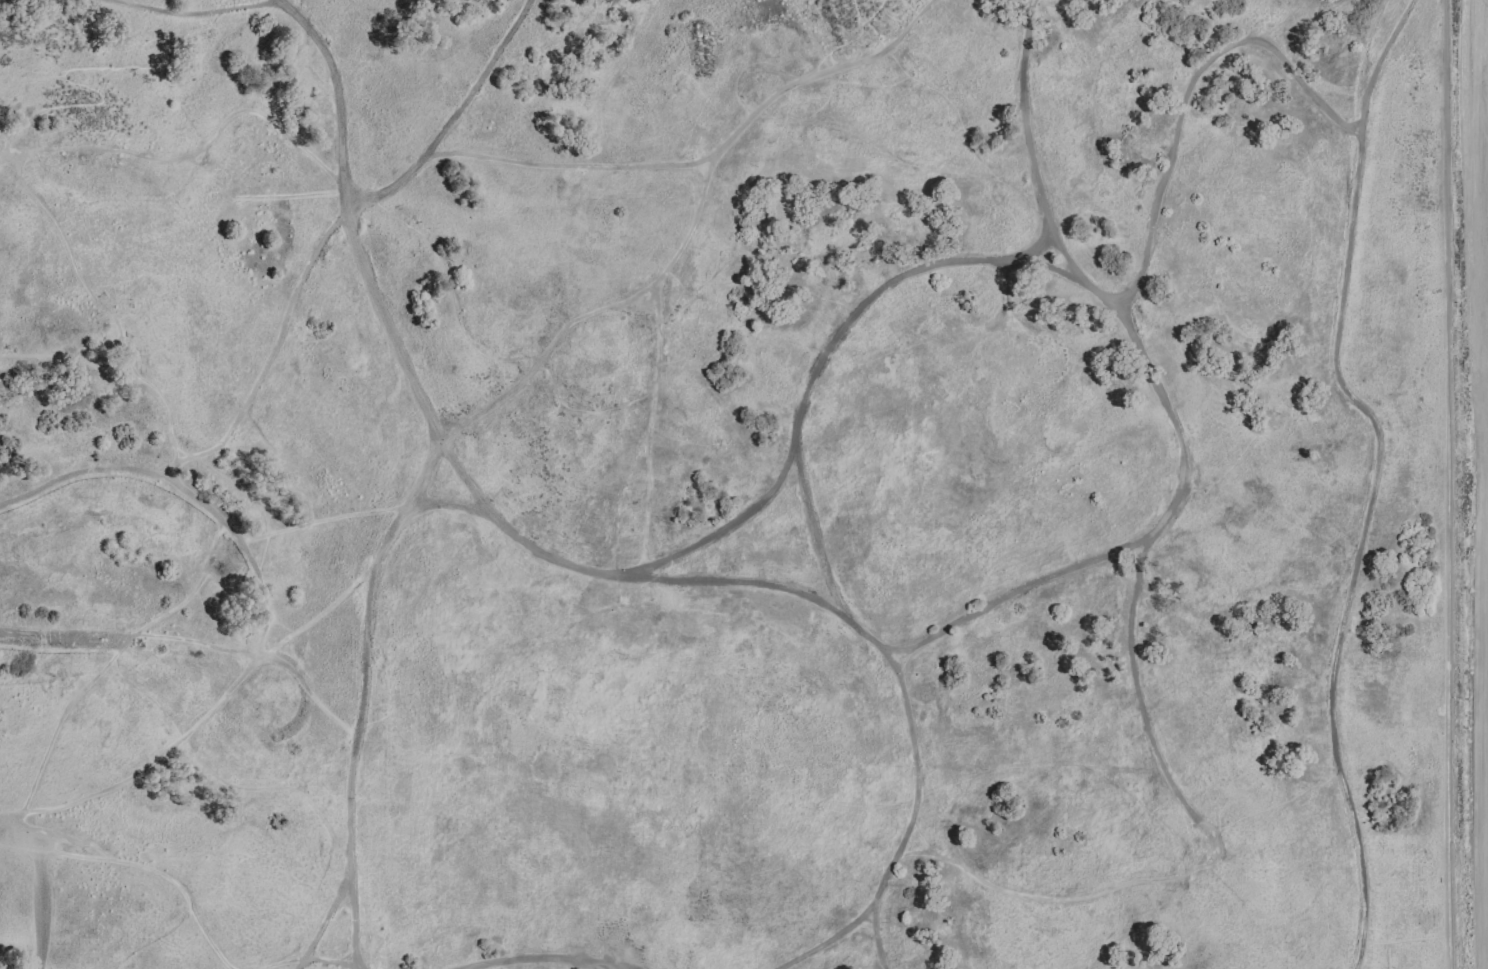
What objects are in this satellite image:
road: (879, 1)
road: (858, 11)
road: (191, 15)
road: (876, 33)
road: (848, 41)
road: (91, 71)
road: (903, 80)
road: (710, 161)
road: (1159, 182)
road: (1030, 250)
road: (1005, 302)
road: (293, 306)
road: (592, 313)
road: (460, 322)
road: (42, 355)
road: (125, 357)
road: (812, 377)
road: (155, 394)
road: (648, 426)
road: (434, 473)
road: (461, 478)
road: (170, 482)
park: (737, 484)
road: (1448, 484)
road: (730, 525)
road: (518, 541)
road: (265, 542)
road: (1359, 544)
road: (738, 582)
road: (192, 594)
road: (265, 602)
road: (990, 605)
road: (63, 640)
road: (891, 651)
road: (265, 655)
road: (1134, 685)
road: (59, 719)
road: (147, 768)
road: (219, 778)
road: (1274, 803)
road: (152, 871)
road: (1070, 900)
road: (42, 910)
road: (326, 920)
road: (207, 940)
road: (833, 941)
road: (542, 959)
road: (327, 961)
road: (285, 963)
road: (602, 967)

